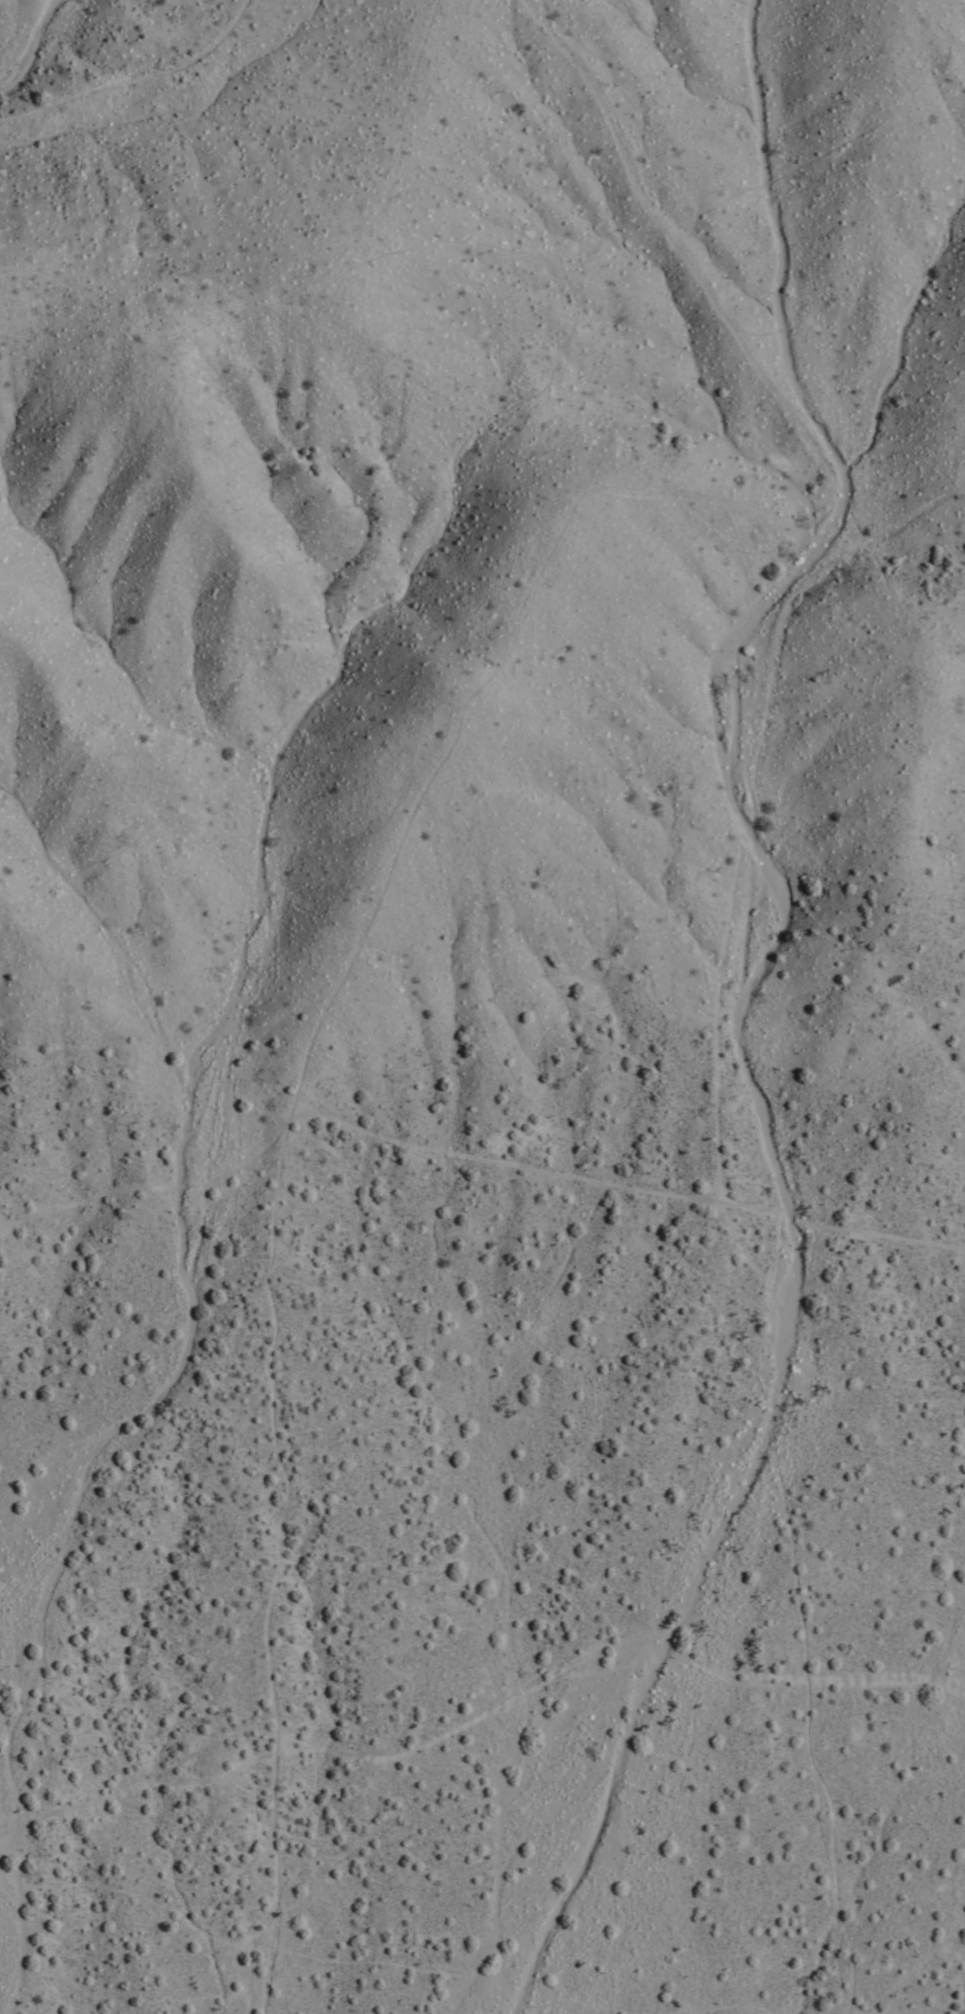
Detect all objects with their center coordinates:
road: (716, 1118)
road: (623, 1188)

